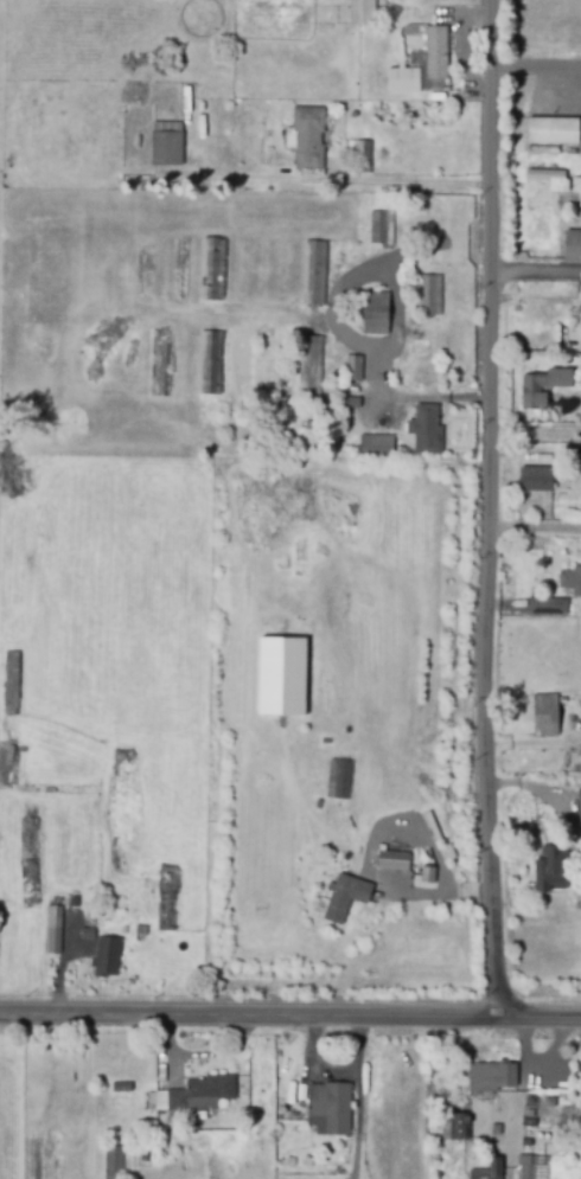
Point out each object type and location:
building: (362, 13)
building: (435, 55)
road: (534, 71)
building: (403, 83)
building: (554, 129)
building: (307, 137)
building: (165, 152)
building: (362, 158)
building: (550, 175)
road: (347, 179)
building: (383, 229)
building: (573, 245)
building: (212, 270)
building: (314, 271)
road: (534, 271)
building: (430, 294)
building: (377, 313)
road: (352, 327)
building: (553, 333)
building: (210, 365)
building: (311, 366)
building: (352, 369)
building: (531, 390)
building: (350, 403)
building: (350, 429)
building: (426, 429)
building: (377, 446)
building: (574, 453)
building: (536, 479)
road: (484, 507)
road: (532, 528)
building: (570, 579)
building: (548, 605)
building: (280, 675)
building: (8, 683)
building: (545, 715)
building: (574, 725)
building: (7, 764)
building: (343, 778)
road: (553, 796)
building: (579, 808)
building: (373, 853)
building: (394, 858)
building: (550, 873)
building: (428, 874)
building: (28, 885)
building: (166, 901)
building: (343, 901)
building: (52, 933)
building: (87, 936)
building: (107, 957)
road: (290, 1013)
road: (539, 1061)
building: (491, 1076)
building: (122, 1088)
building: (200, 1096)
building: (159, 1100)
building: (328, 1111)
building: (580, 1113)
road: (518, 1119)
building: (460, 1133)
building: (113, 1164)
building: (490, 1170)
building: (525, 1172)

